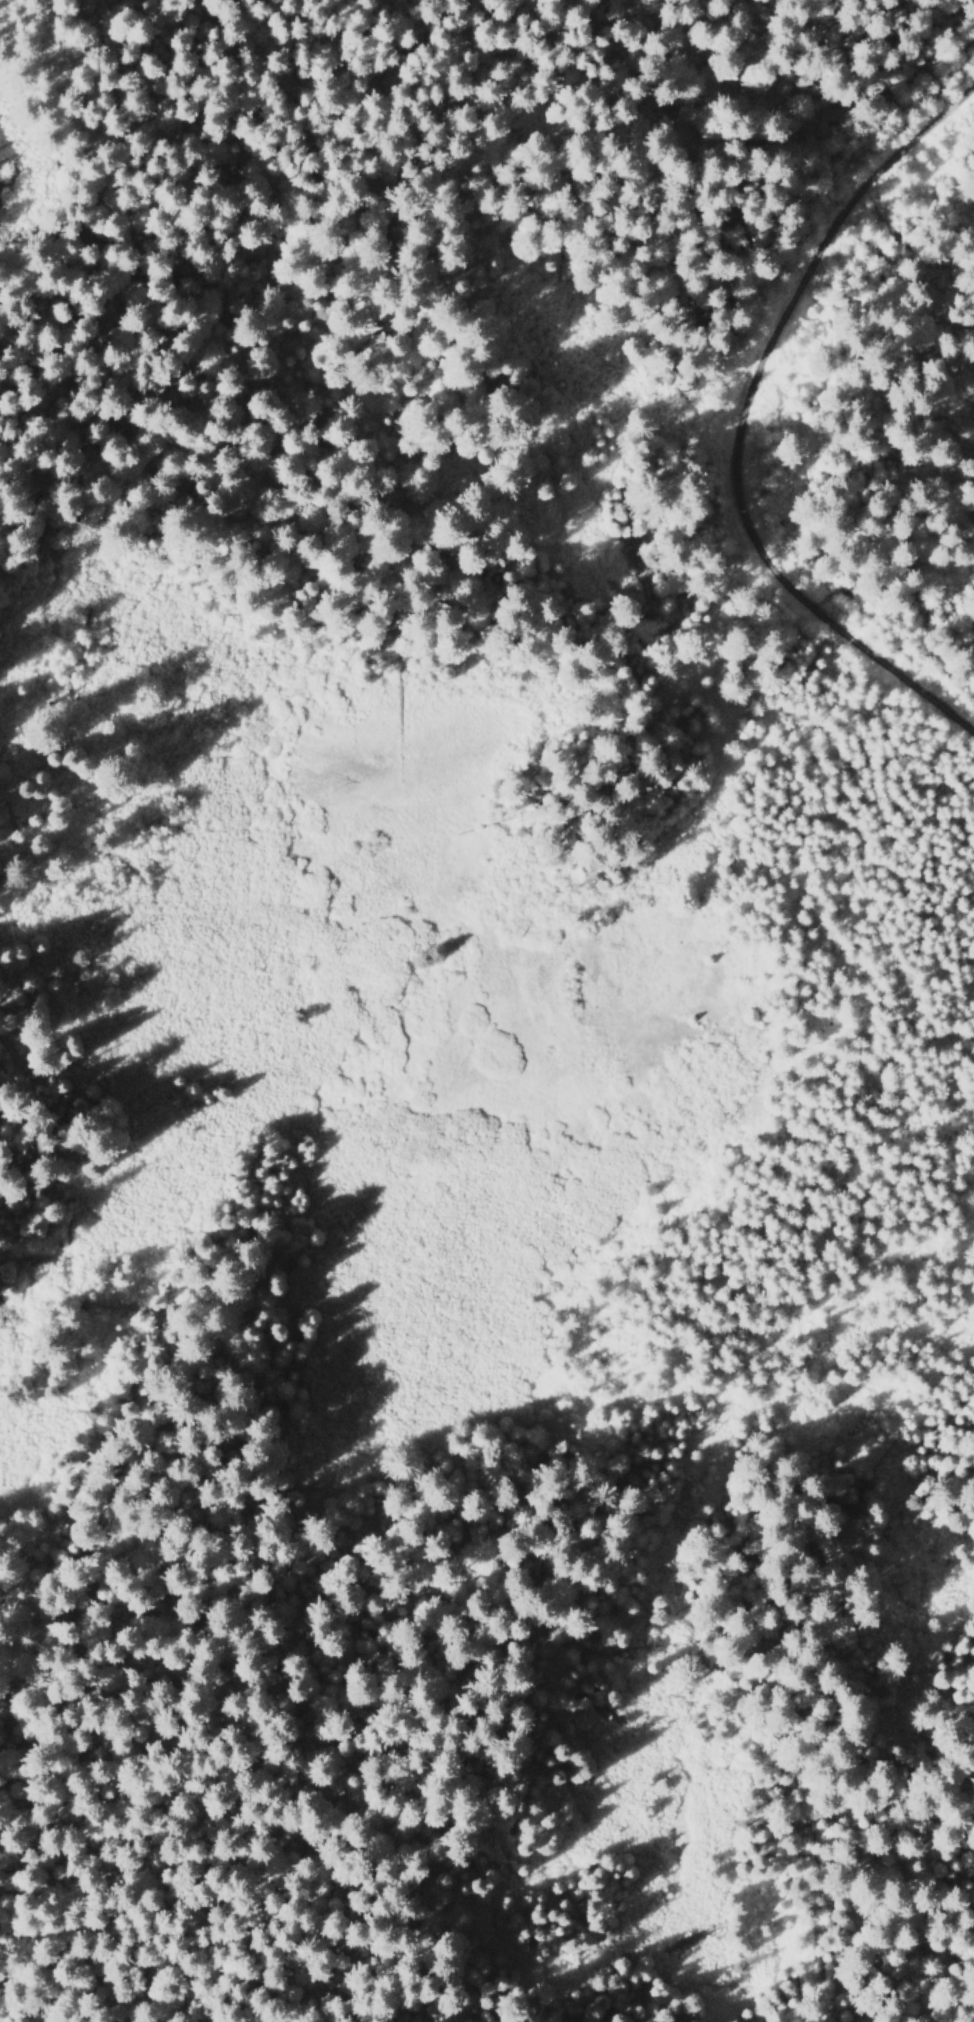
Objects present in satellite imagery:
road: (731, 420)

